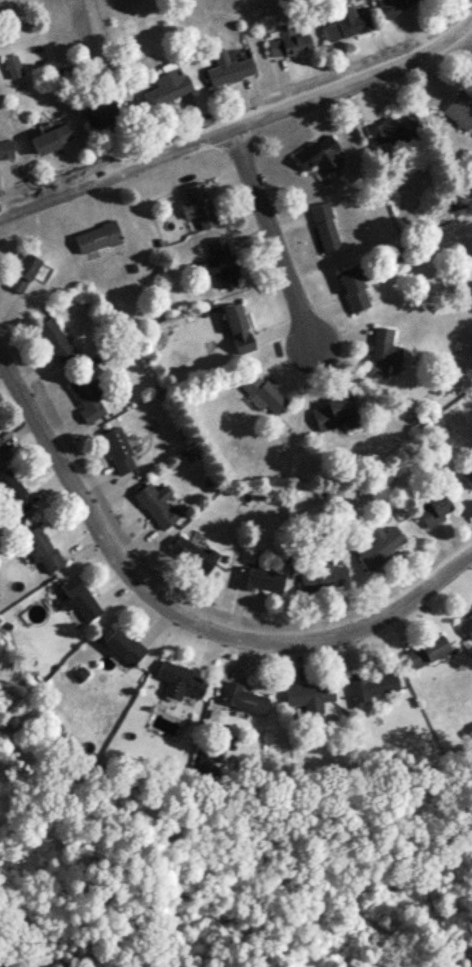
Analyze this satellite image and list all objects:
building: (393, 5)
building: (345, 24)
road: (468, 27)
building: (292, 43)
building: (15, 66)
building: (231, 69)
building: (170, 87)
building: (461, 110)
building: (103, 112)
road: (241, 125)
building: (394, 129)
building: (54, 139)
building: (7, 150)
building: (322, 155)
building: (200, 205)
building: (326, 226)
road: (272, 235)
building: (99, 236)
building: (220, 261)
building: (25, 272)
building: (358, 286)
building: (237, 317)
building: (58, 341)
building: (385, 350)
building: (262, 390)
building: (89, 396)
building: (337, 412)
building: (2, 447)
building: (120, 449)
building: (468, 476)
building: (14, 491)
building: (158, 503)
building: (436, 507)
building: (380, 544)
building: (43, 548)
building: (195, 553)
building: (324, 574)
building: (261, 579)
building: (81, 597)
road: (183, 611)
building: (467, 624)
building: (126, 646)
building: (428, 650)
building: (182, 681)
building: (374, 684)
building: (311, 694)
building: (246, 698)
building: (206, 773)

